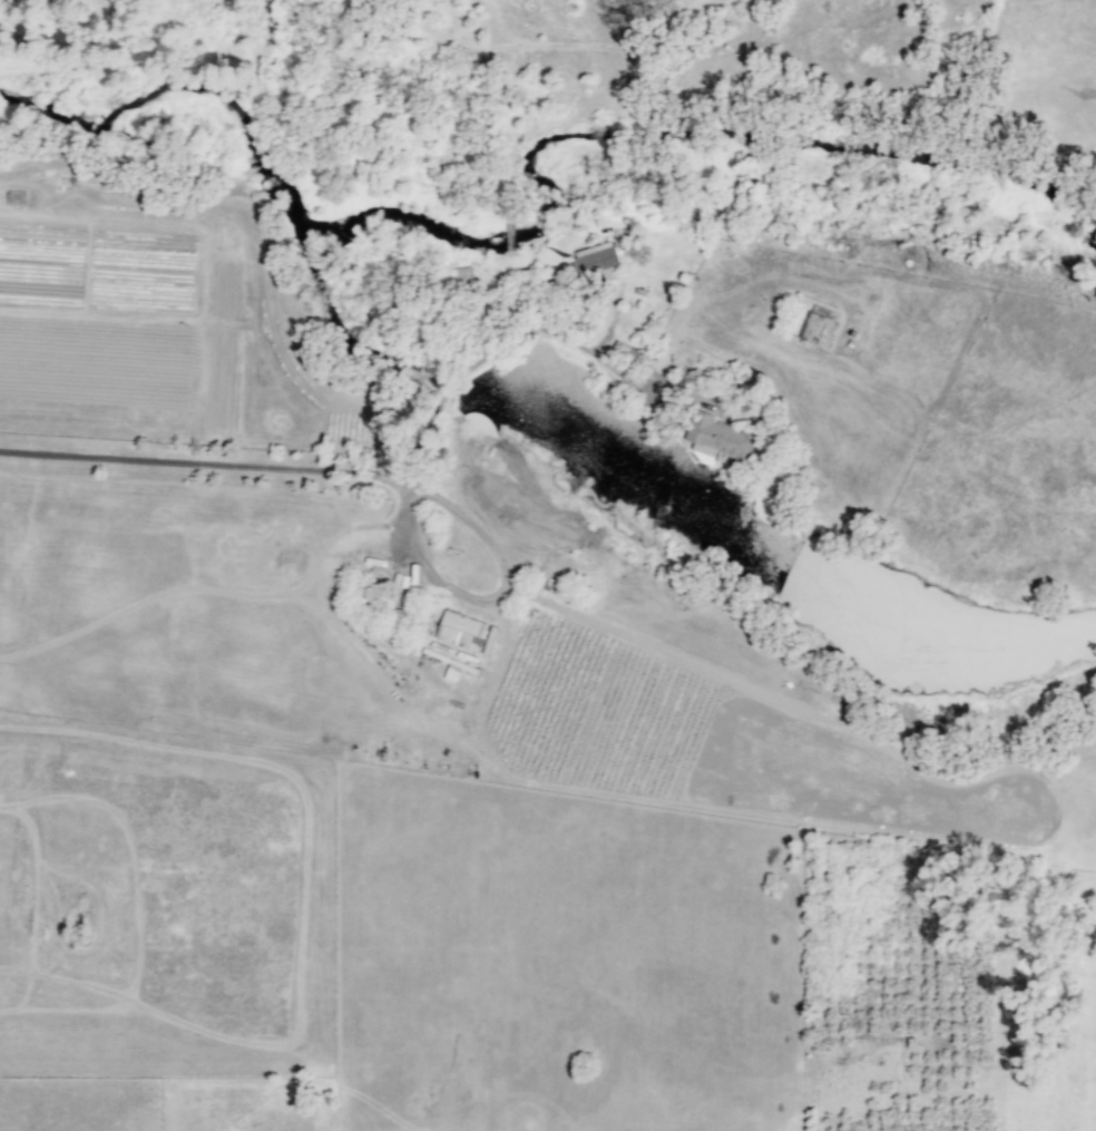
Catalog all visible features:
building: (595, 260)
building: (820, 328)
road: (517, 334)
building: (717, 442)
road: (208, 467)
building: (462, 631)
road: (718, 674)

